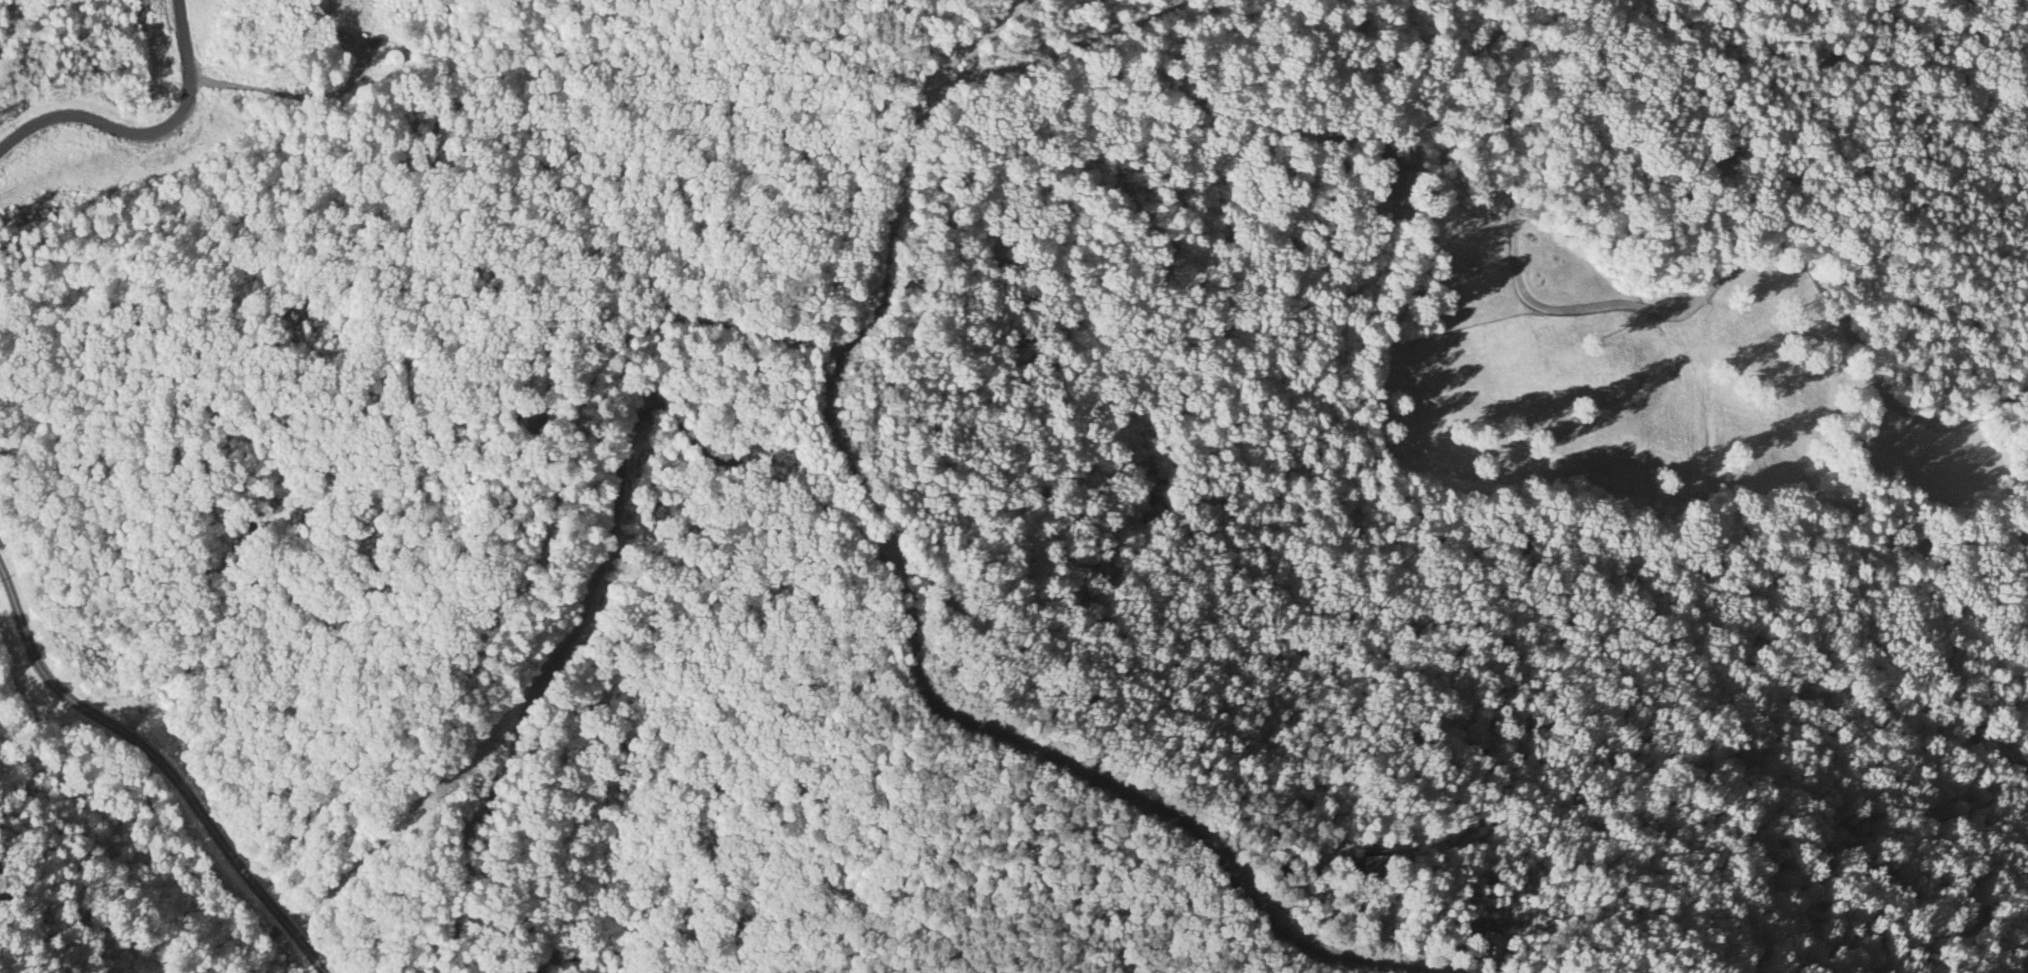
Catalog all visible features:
road: (964, 47)
road: (1046, 49)
building: (360, 56)
building: (395, 59)
road: (245, 91)
road: (146, 130)
road: (599, 567)
road: (913, 674)
road: (161, 766)
building: (1374, 865)
building: (1493, 947)
road: (557, 955)

